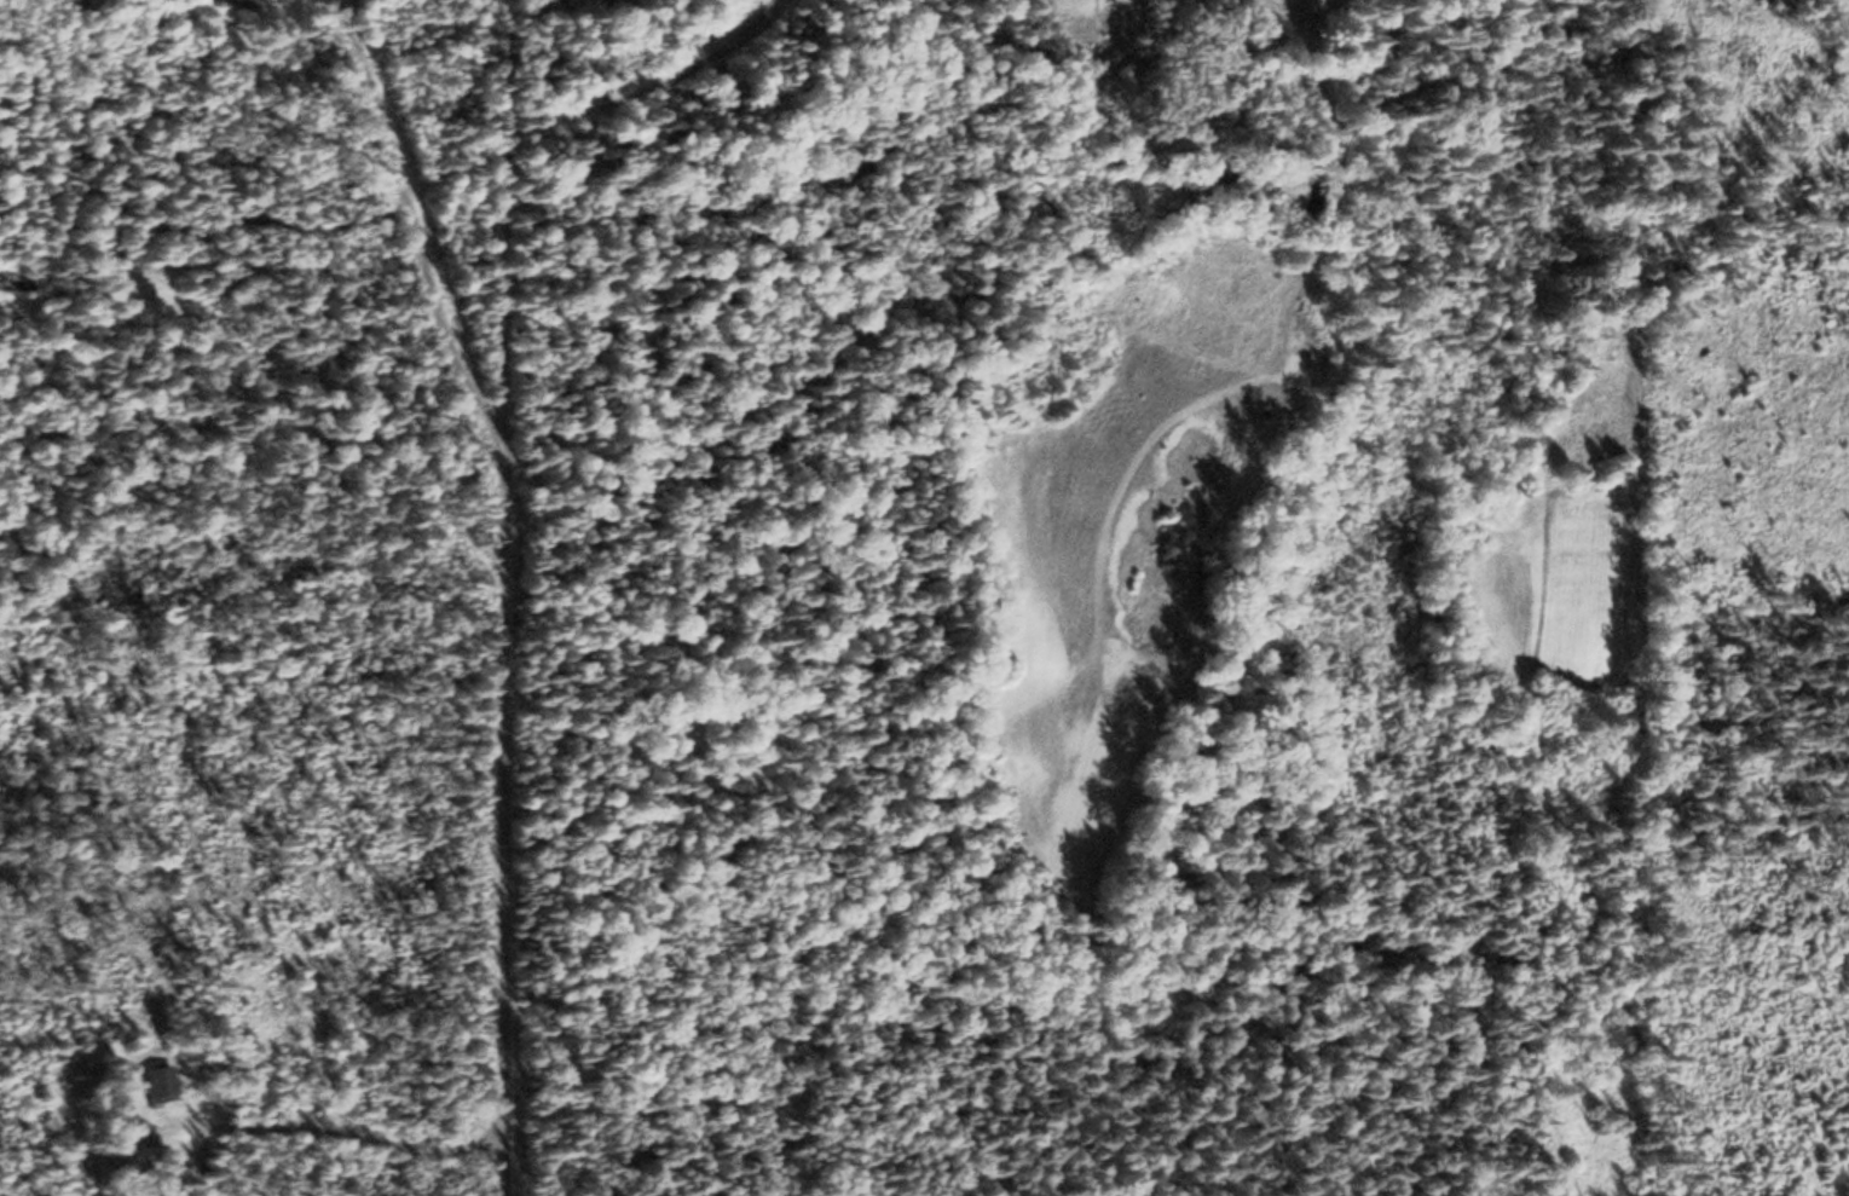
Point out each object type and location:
building: (244, 2)
road: (486, 648)
building: (161, 1082)

